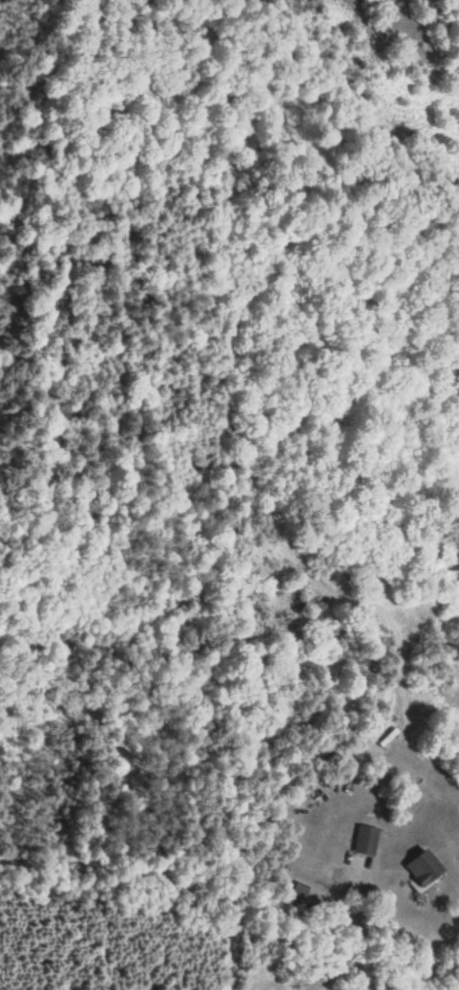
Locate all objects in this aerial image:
building: (364, 839)
building: (421, 867)

